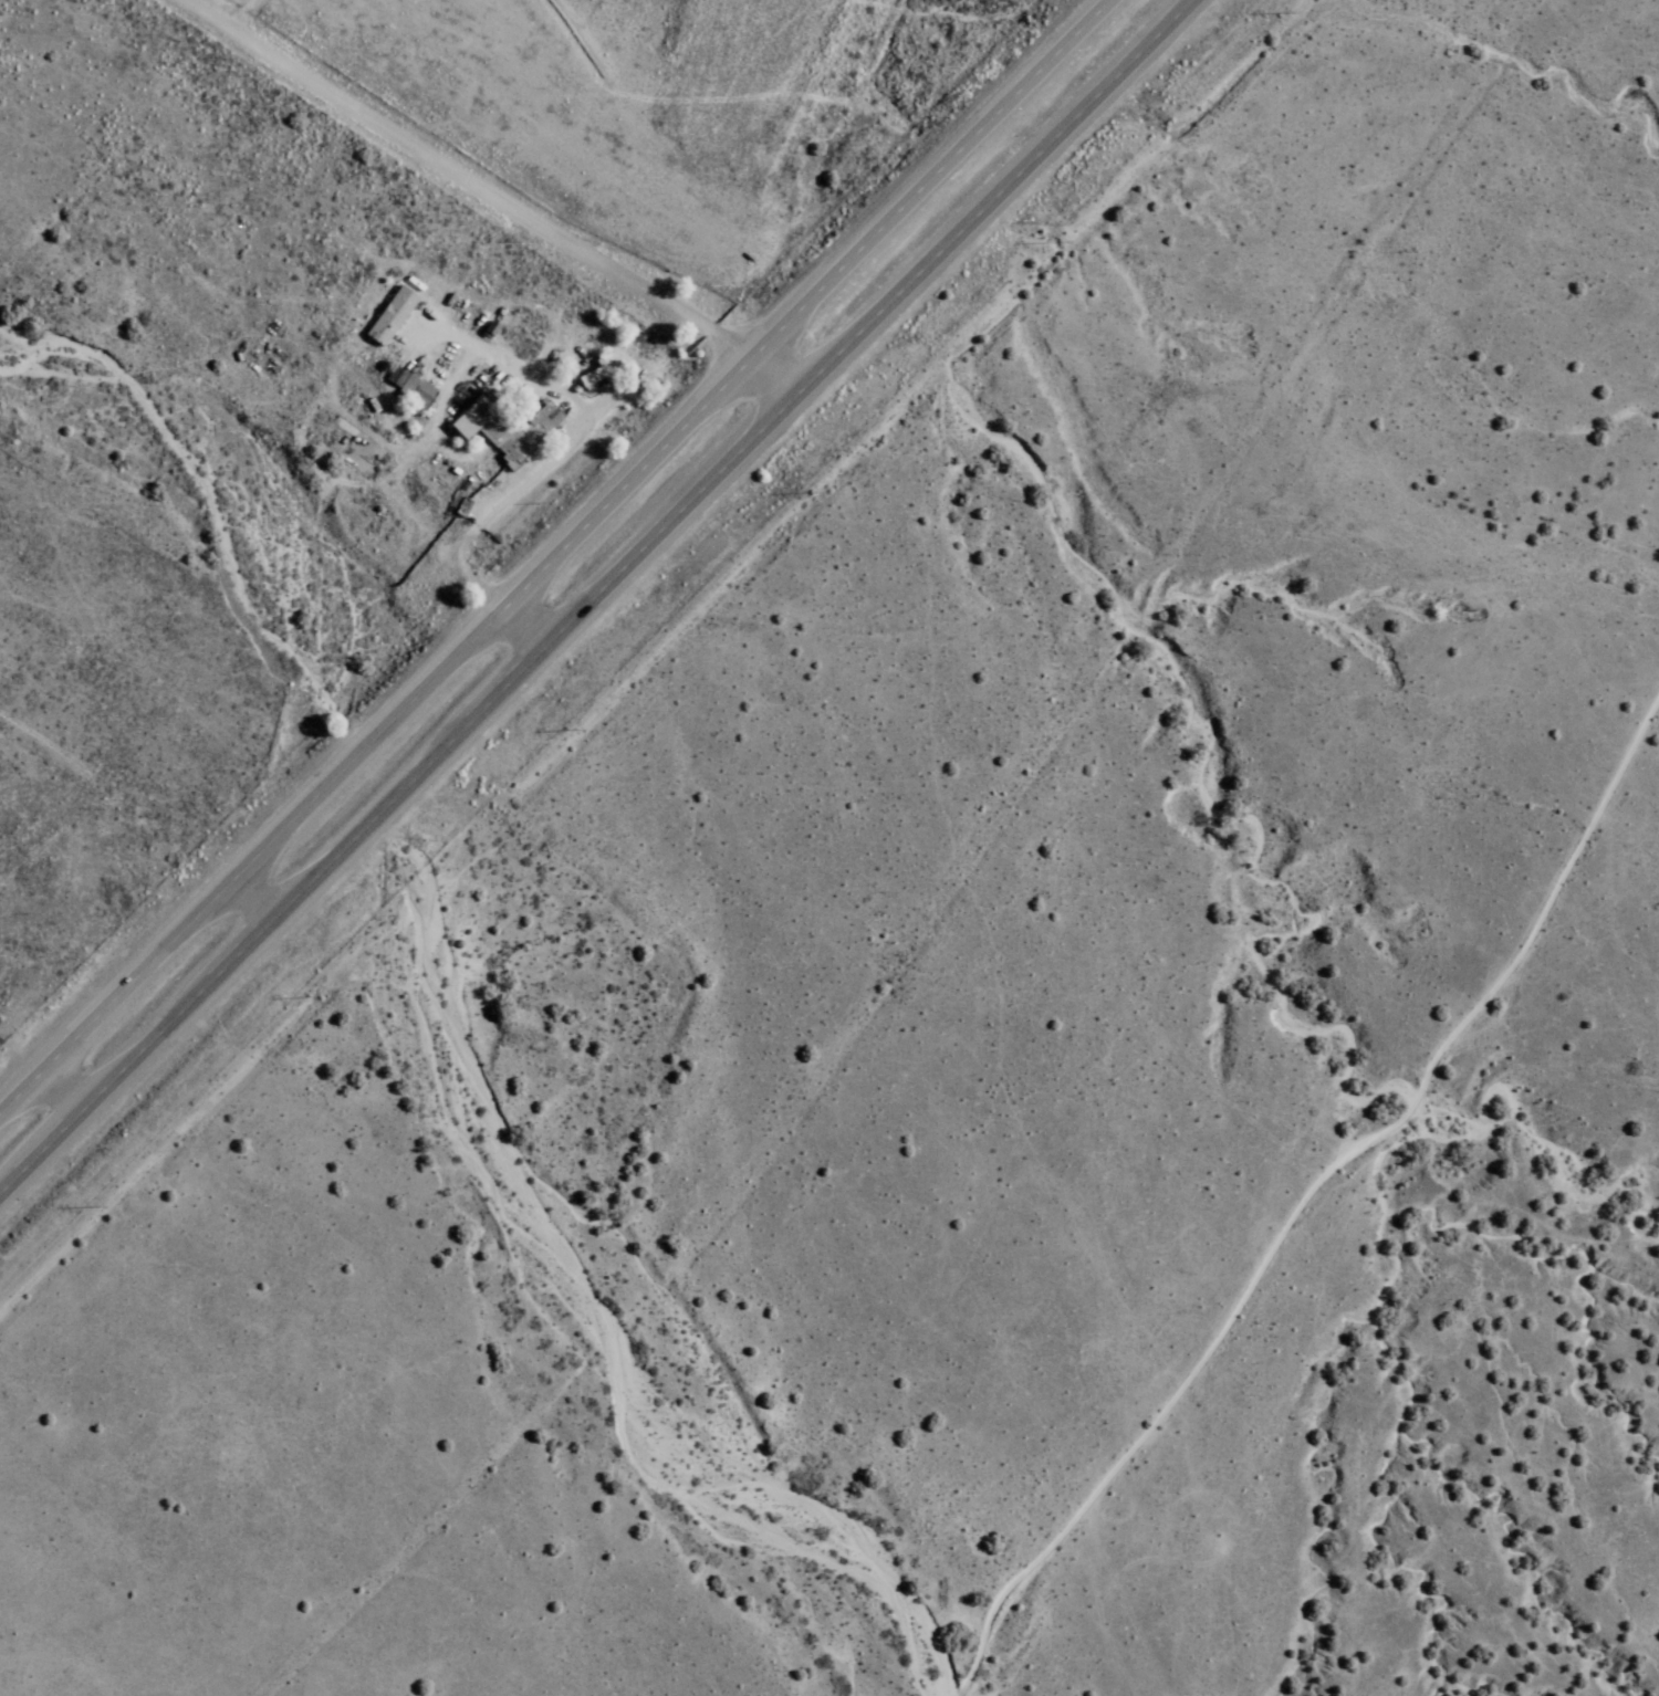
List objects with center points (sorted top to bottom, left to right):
road: (980, 49)
building: (389, 314)
building: (488, 327)
building: (599, 367)
road: (773, 375)
building: (407, 385)
building: (502, 427)
road: (552, 554)
road: (593, 596)
road: (521, 626)
road: (260, 889)
road: (61, 1091)
road: (1319, 1244)

